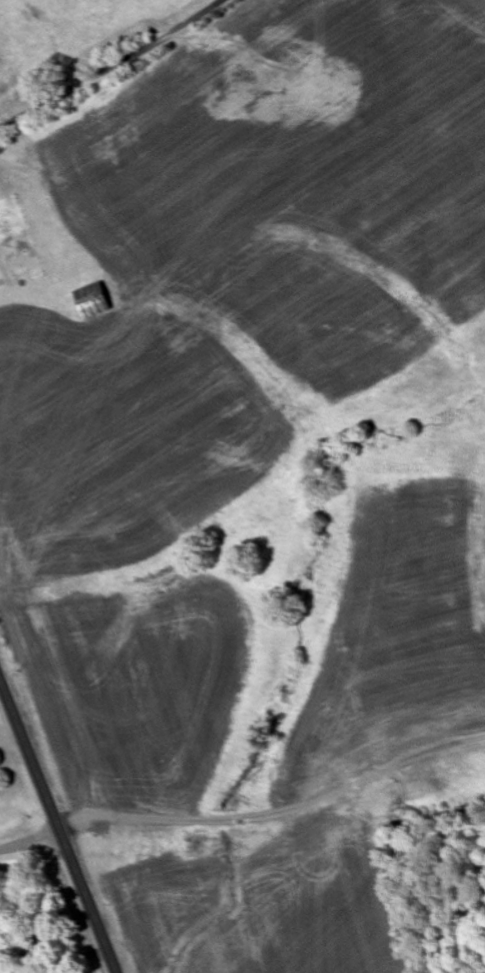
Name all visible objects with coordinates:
road: (115, 68)
building: (14, 100)
building: (94, 301)
road: (57, 829)
road: (30, 842)

